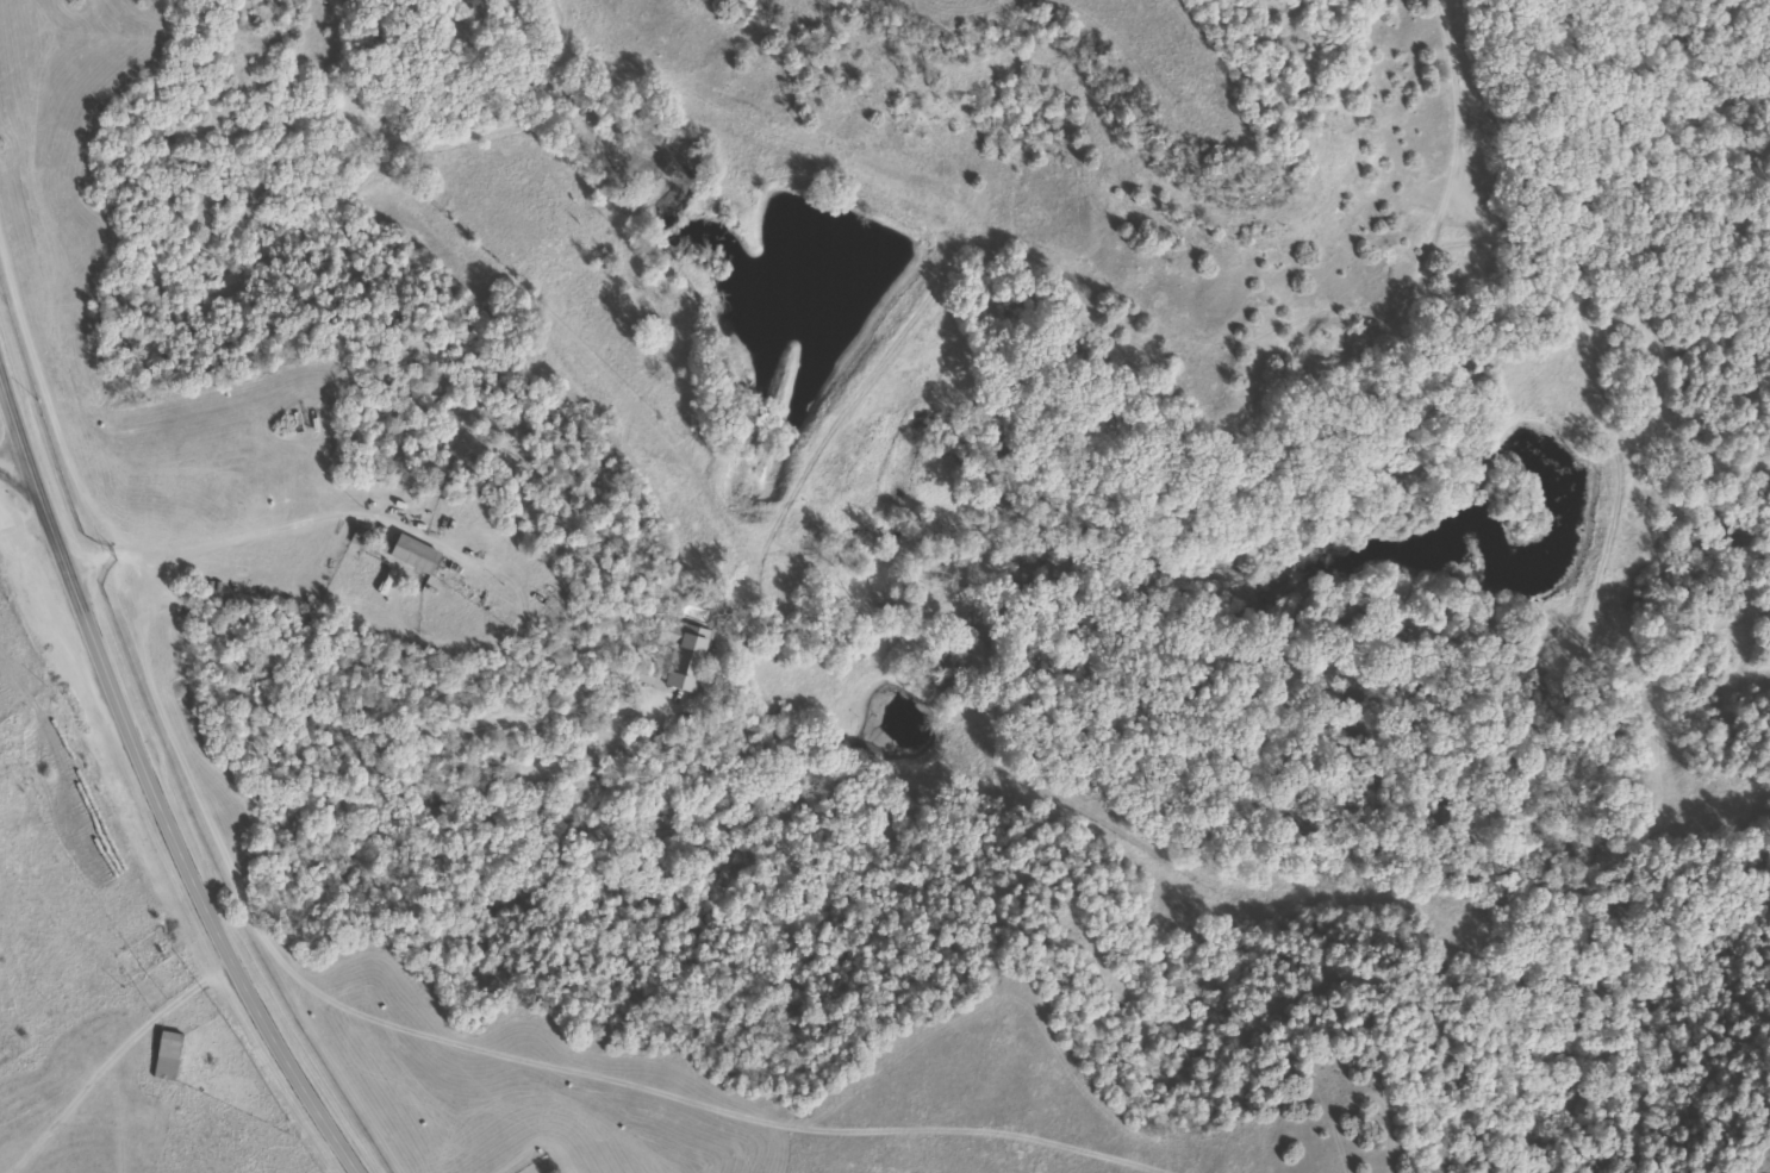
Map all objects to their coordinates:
road: (30, 516)
building: (397, 550)
building: (683, 654)
road: (150, 785)
road: (120, 1047)
building: (166, 1056)
park: (540, 1166)

